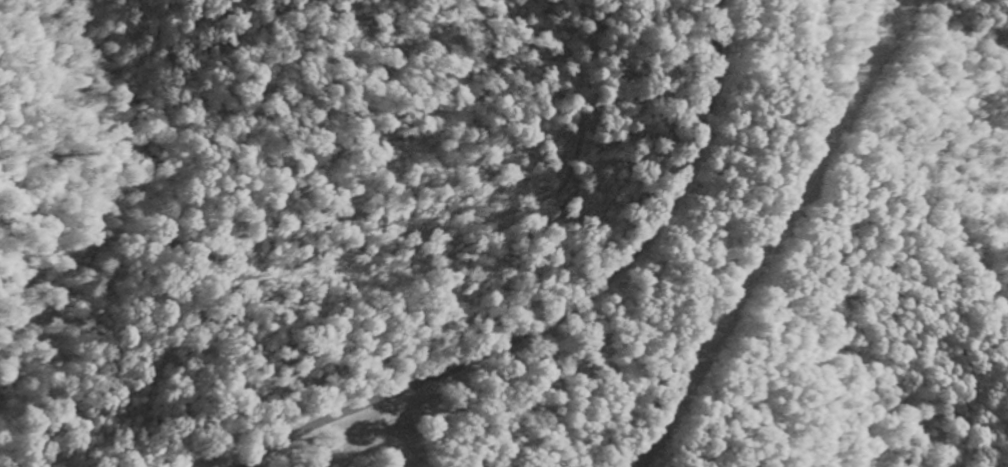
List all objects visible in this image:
road: (152, 181)
road: (565, 309)
road: (574, 400)

